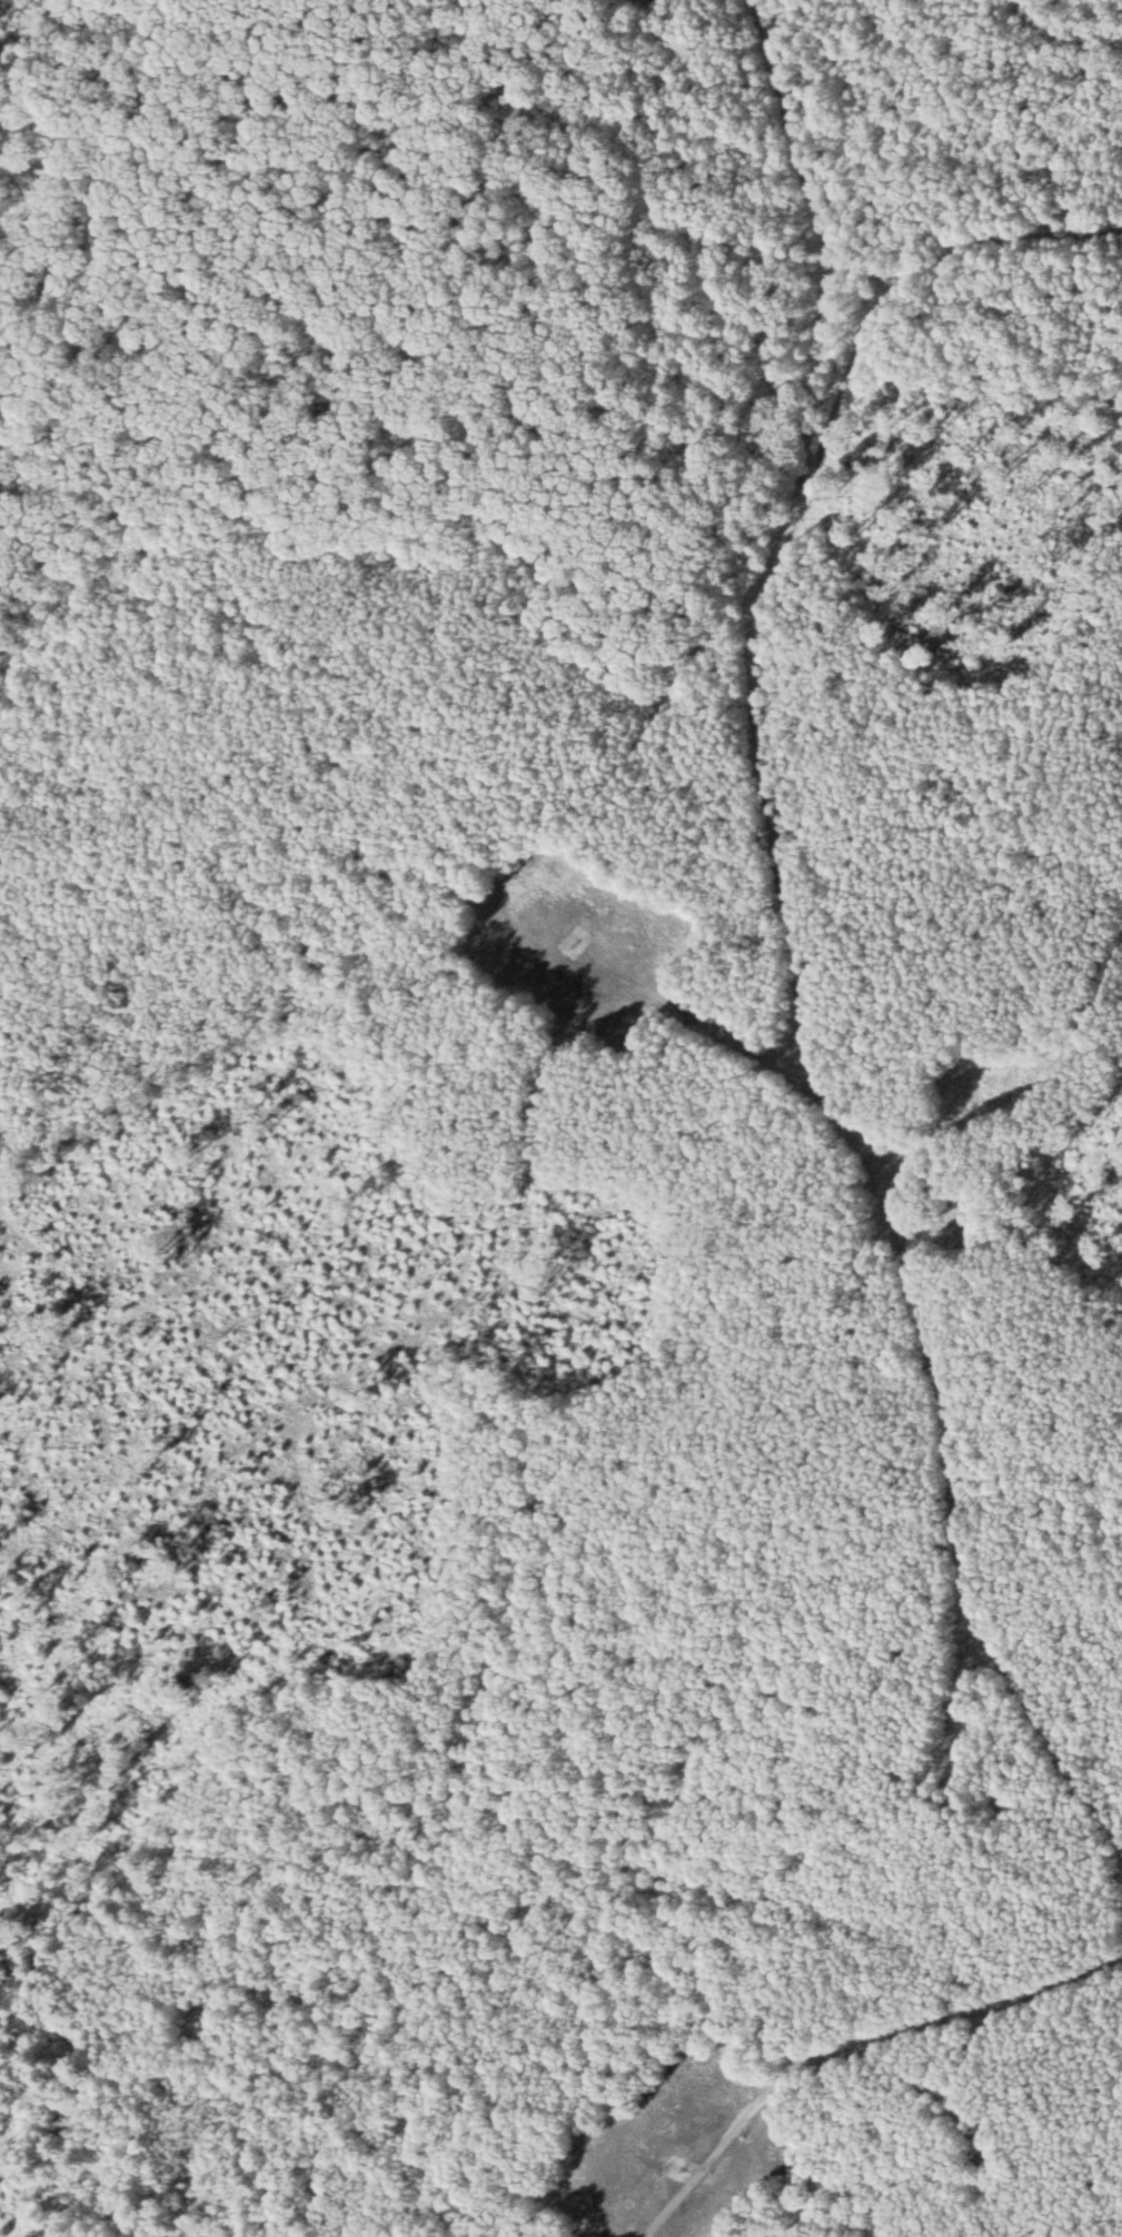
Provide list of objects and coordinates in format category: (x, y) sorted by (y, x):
road: (888, 286)
road: (786, 964)
road: (689, 1006)
road: (855, 2041)

